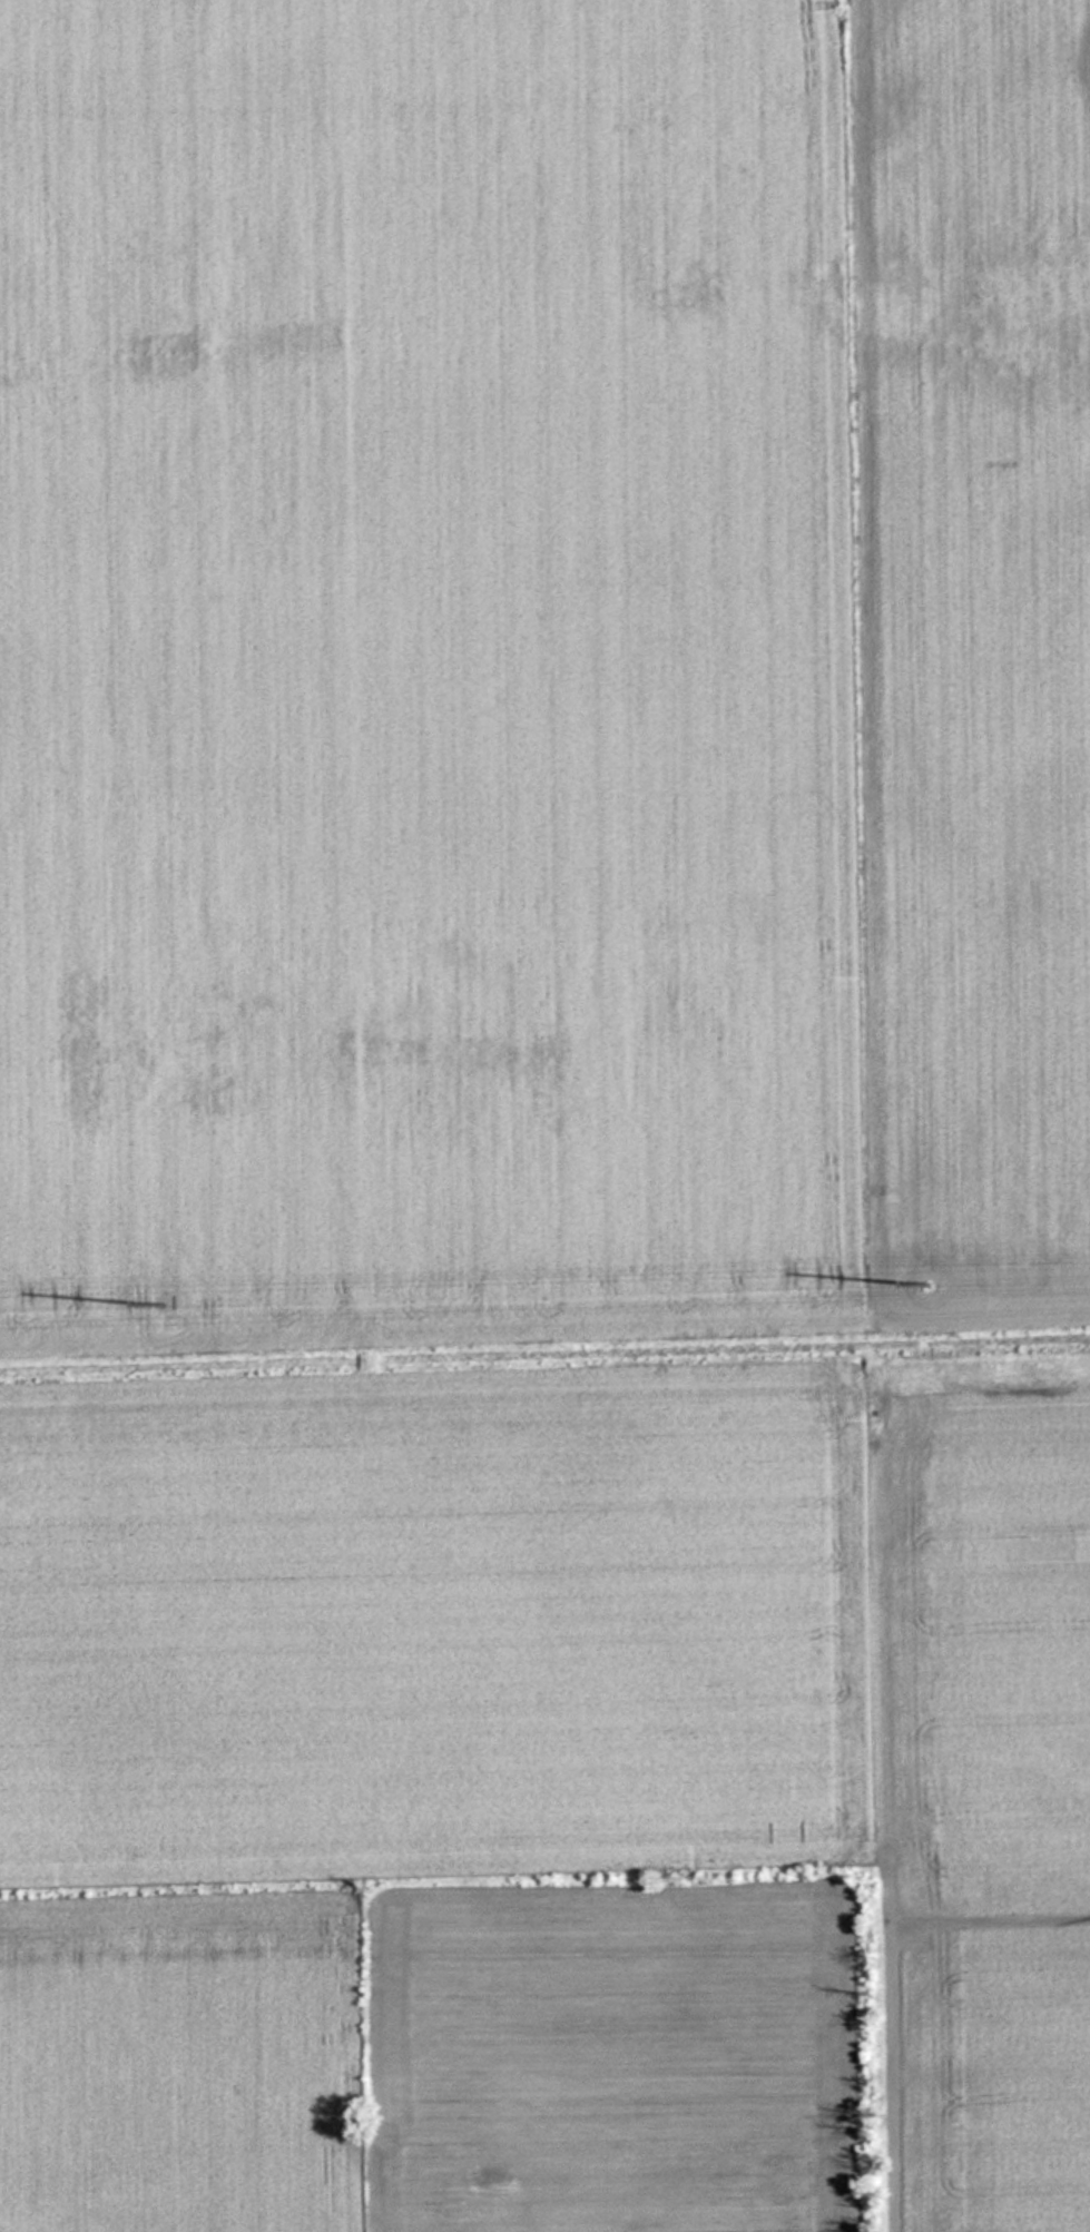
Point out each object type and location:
power tower: (934, 1261)
power tower: (173, 1284)
road: (887, 1968)

